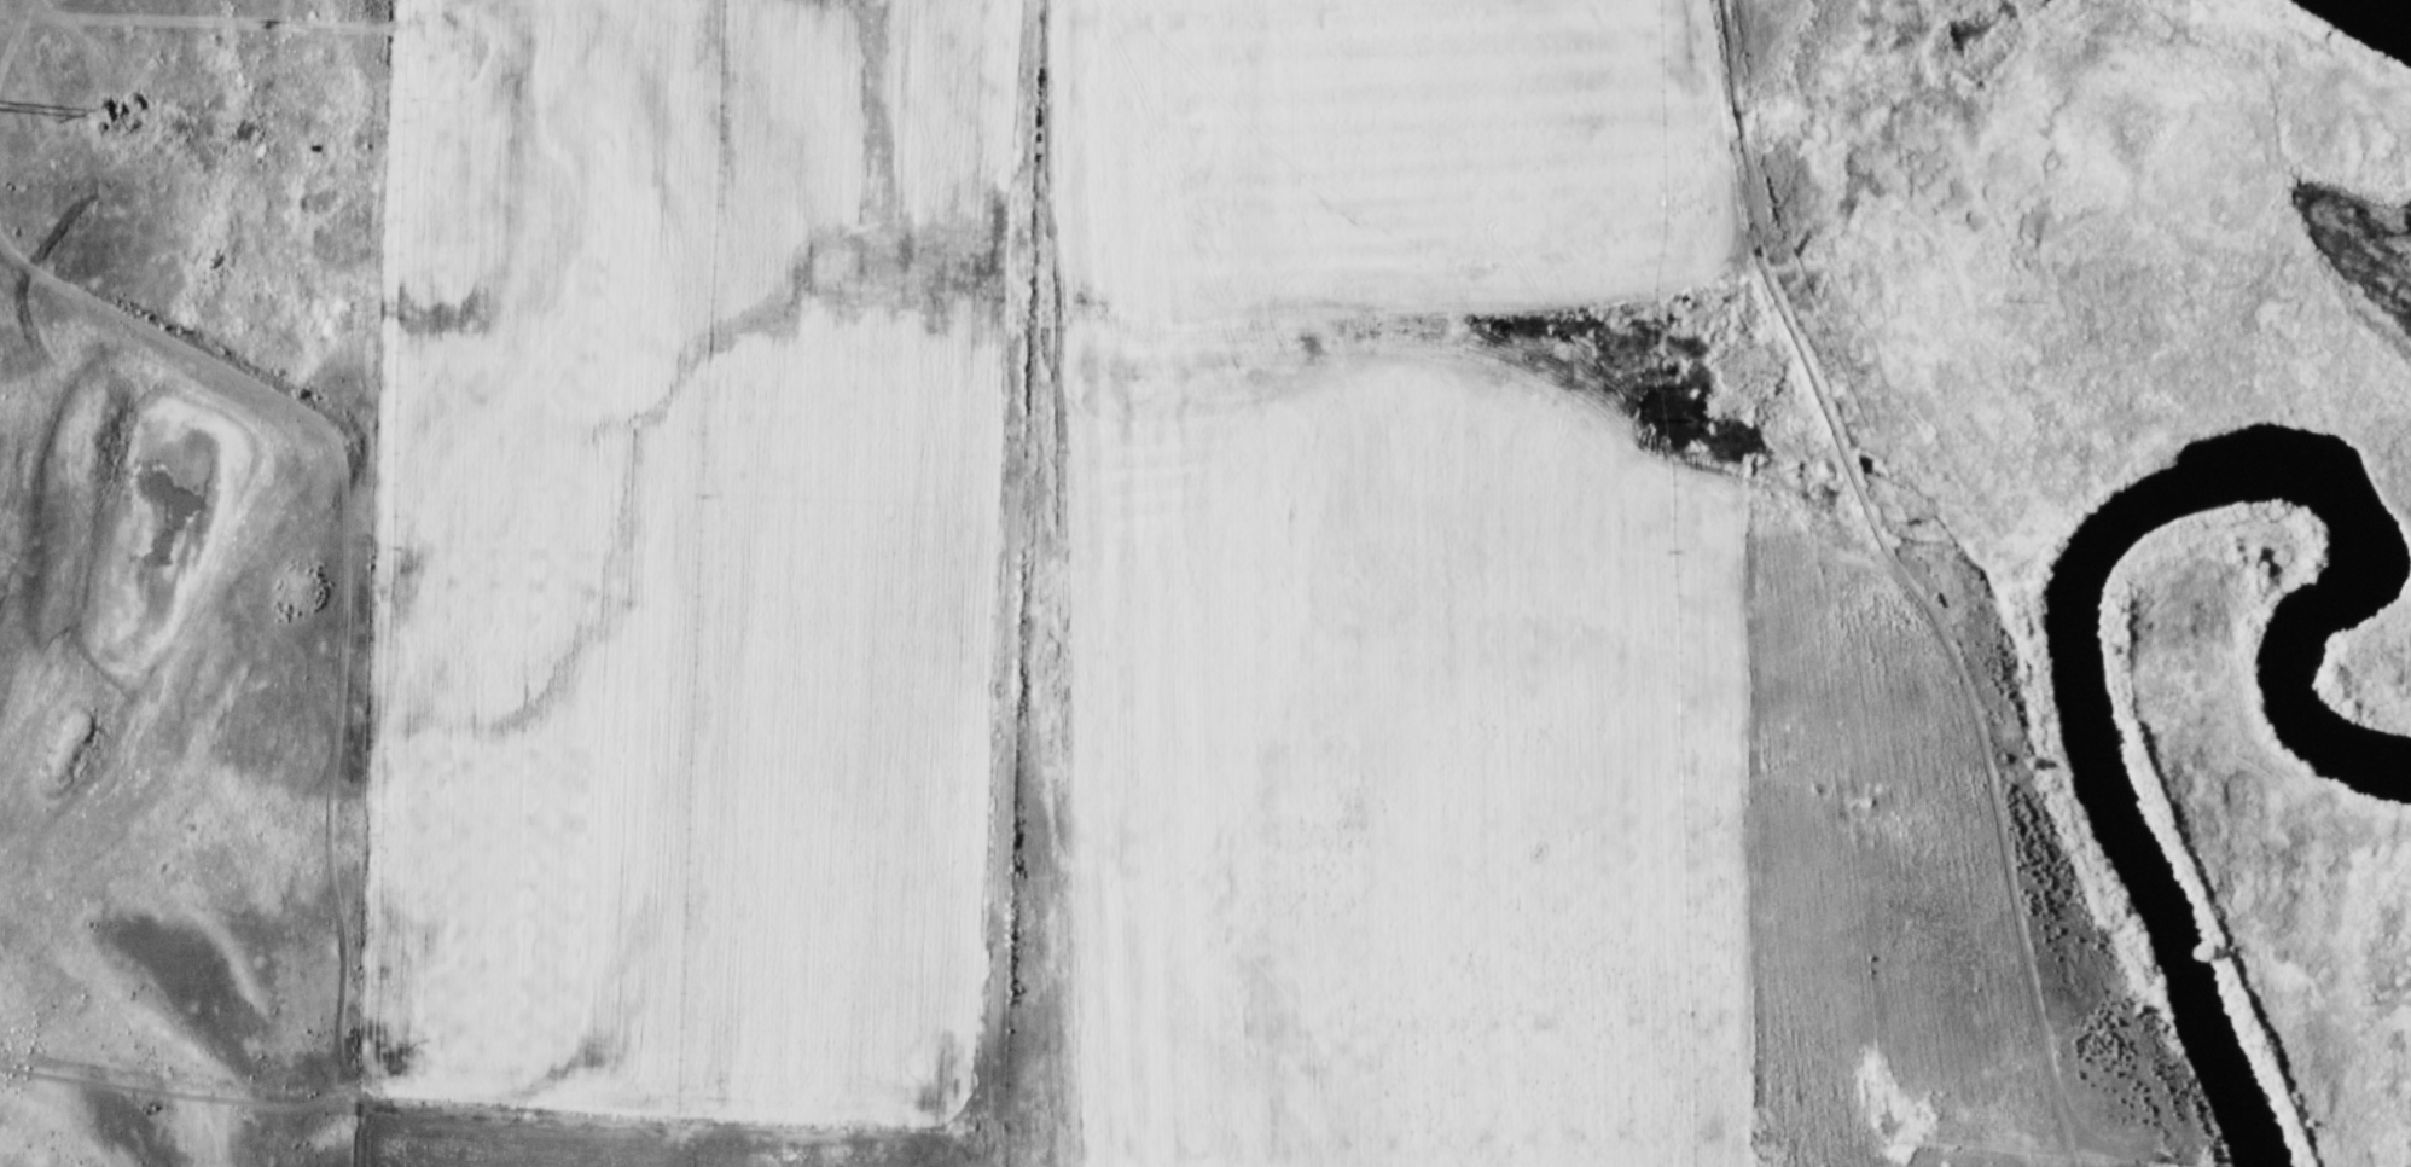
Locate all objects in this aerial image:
river: (2407, 1)
river: (2093, 580)

